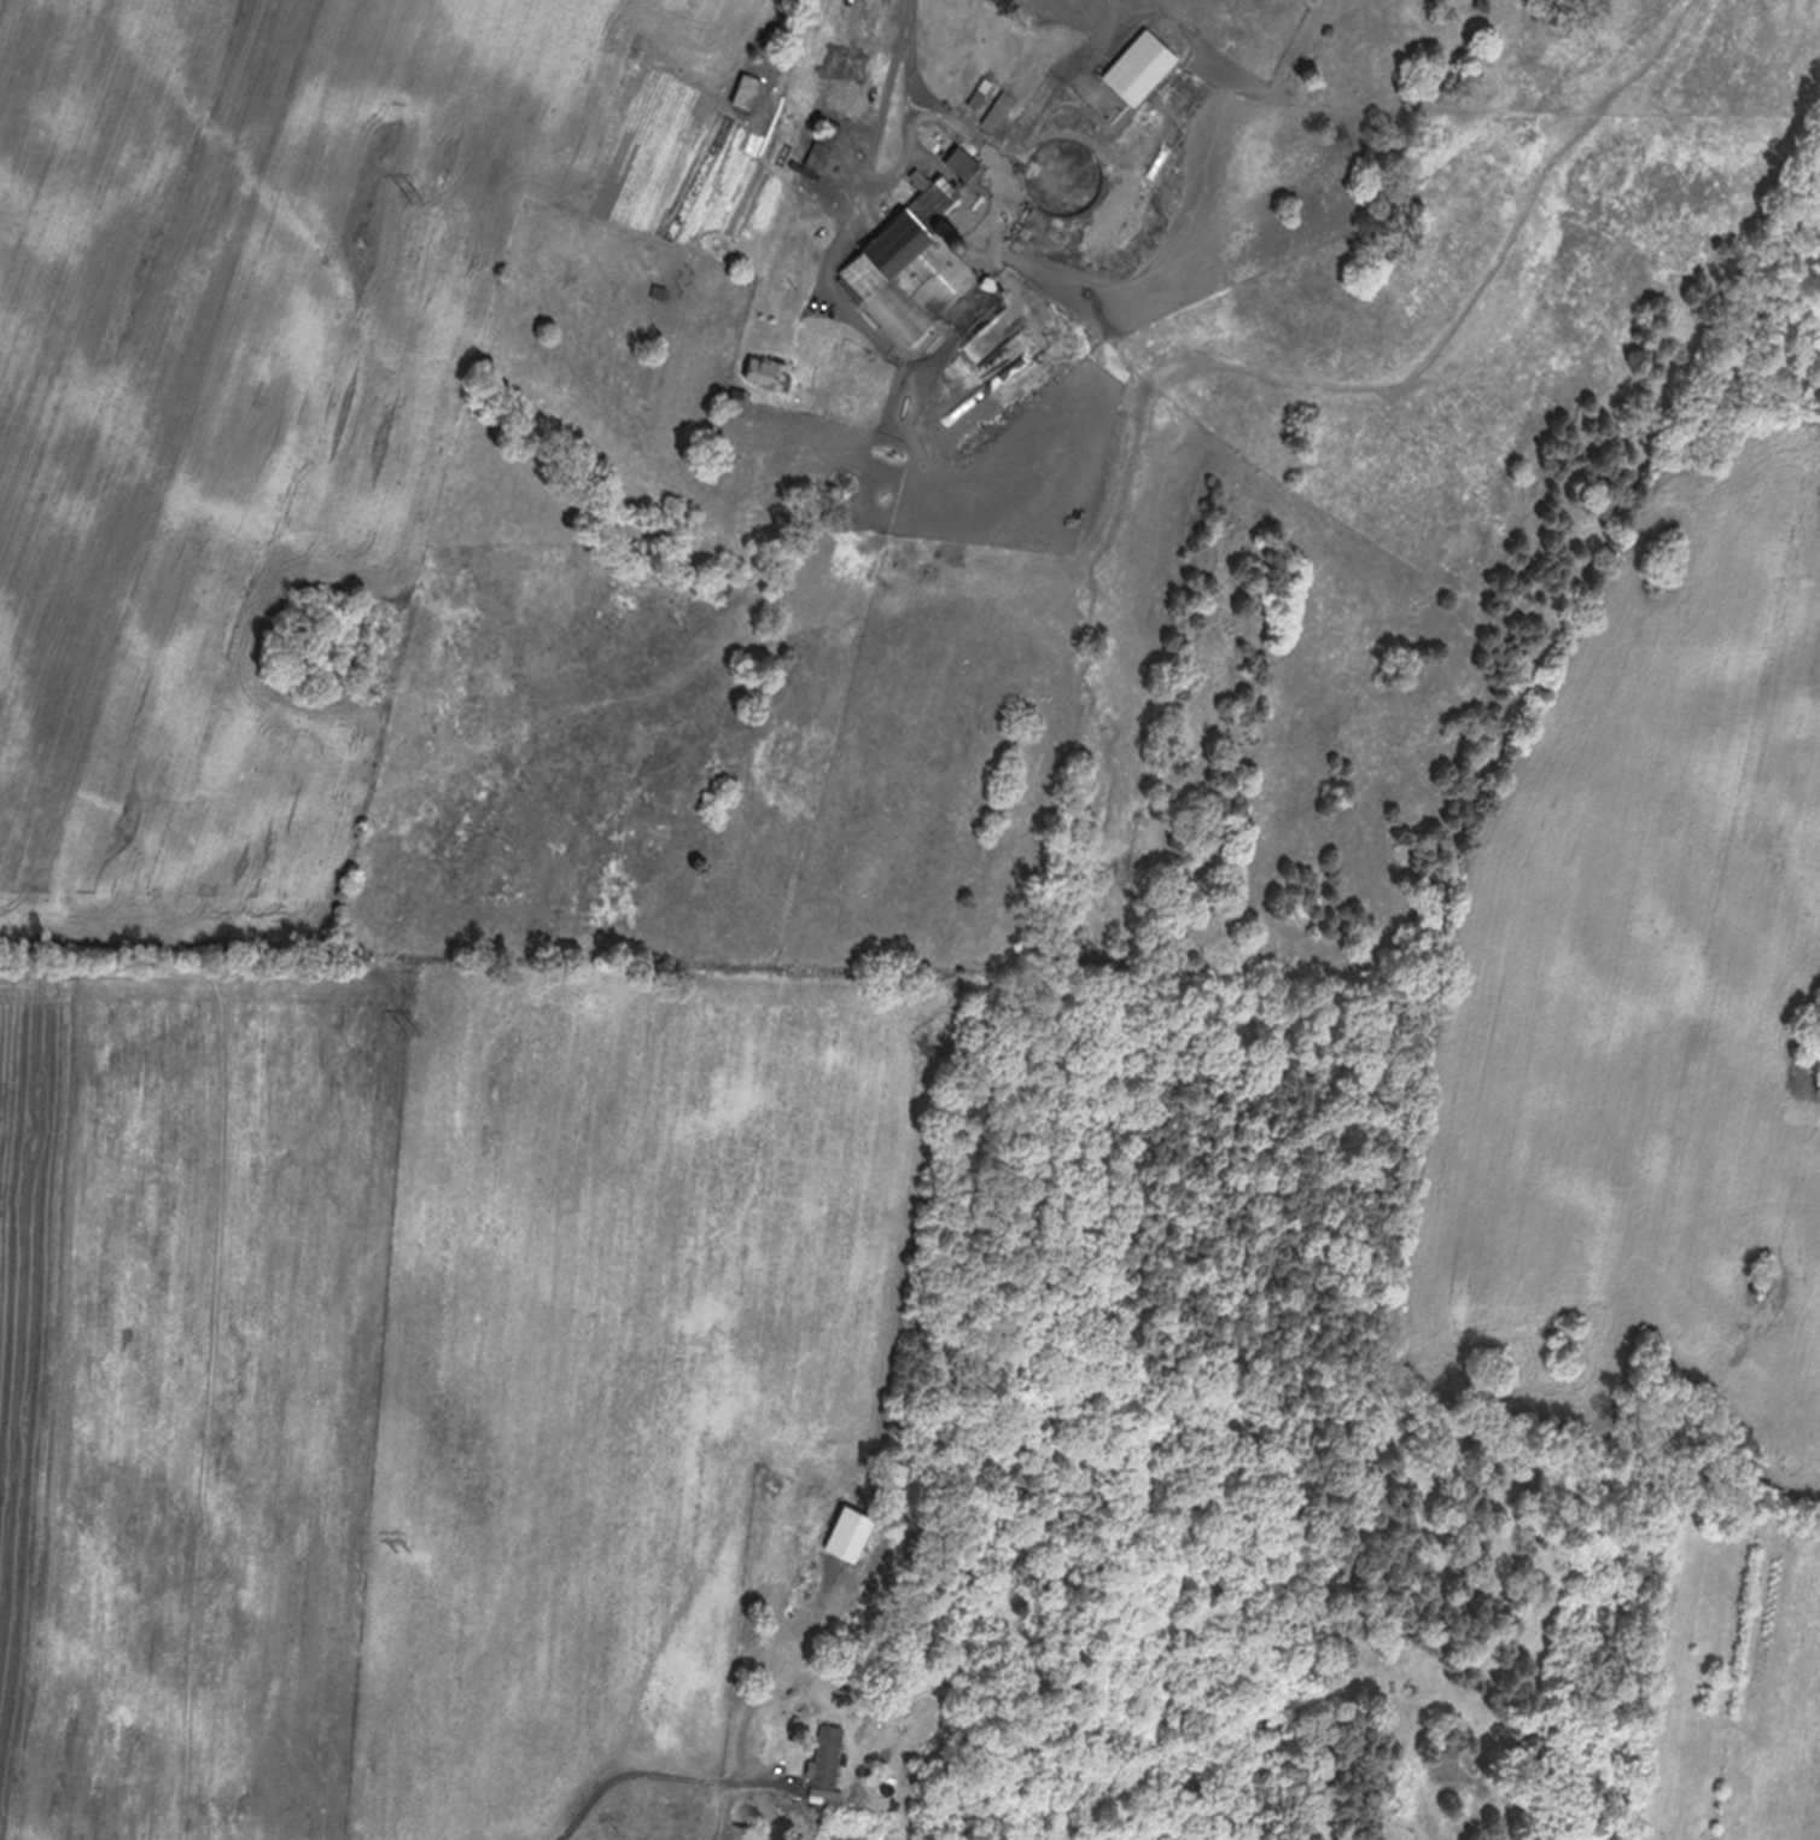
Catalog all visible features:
building: (1151, 65)
building: (759, 89)
building: (836, 144)
building: (973, 162)
power tower: (407, 187)
building: (904, 275)
building: (666, 291)
building: (778, 372)
power tower: (404, 1024)
power tower: (403, 1554)
building: (835, 1754)
road: (659, 1772)

